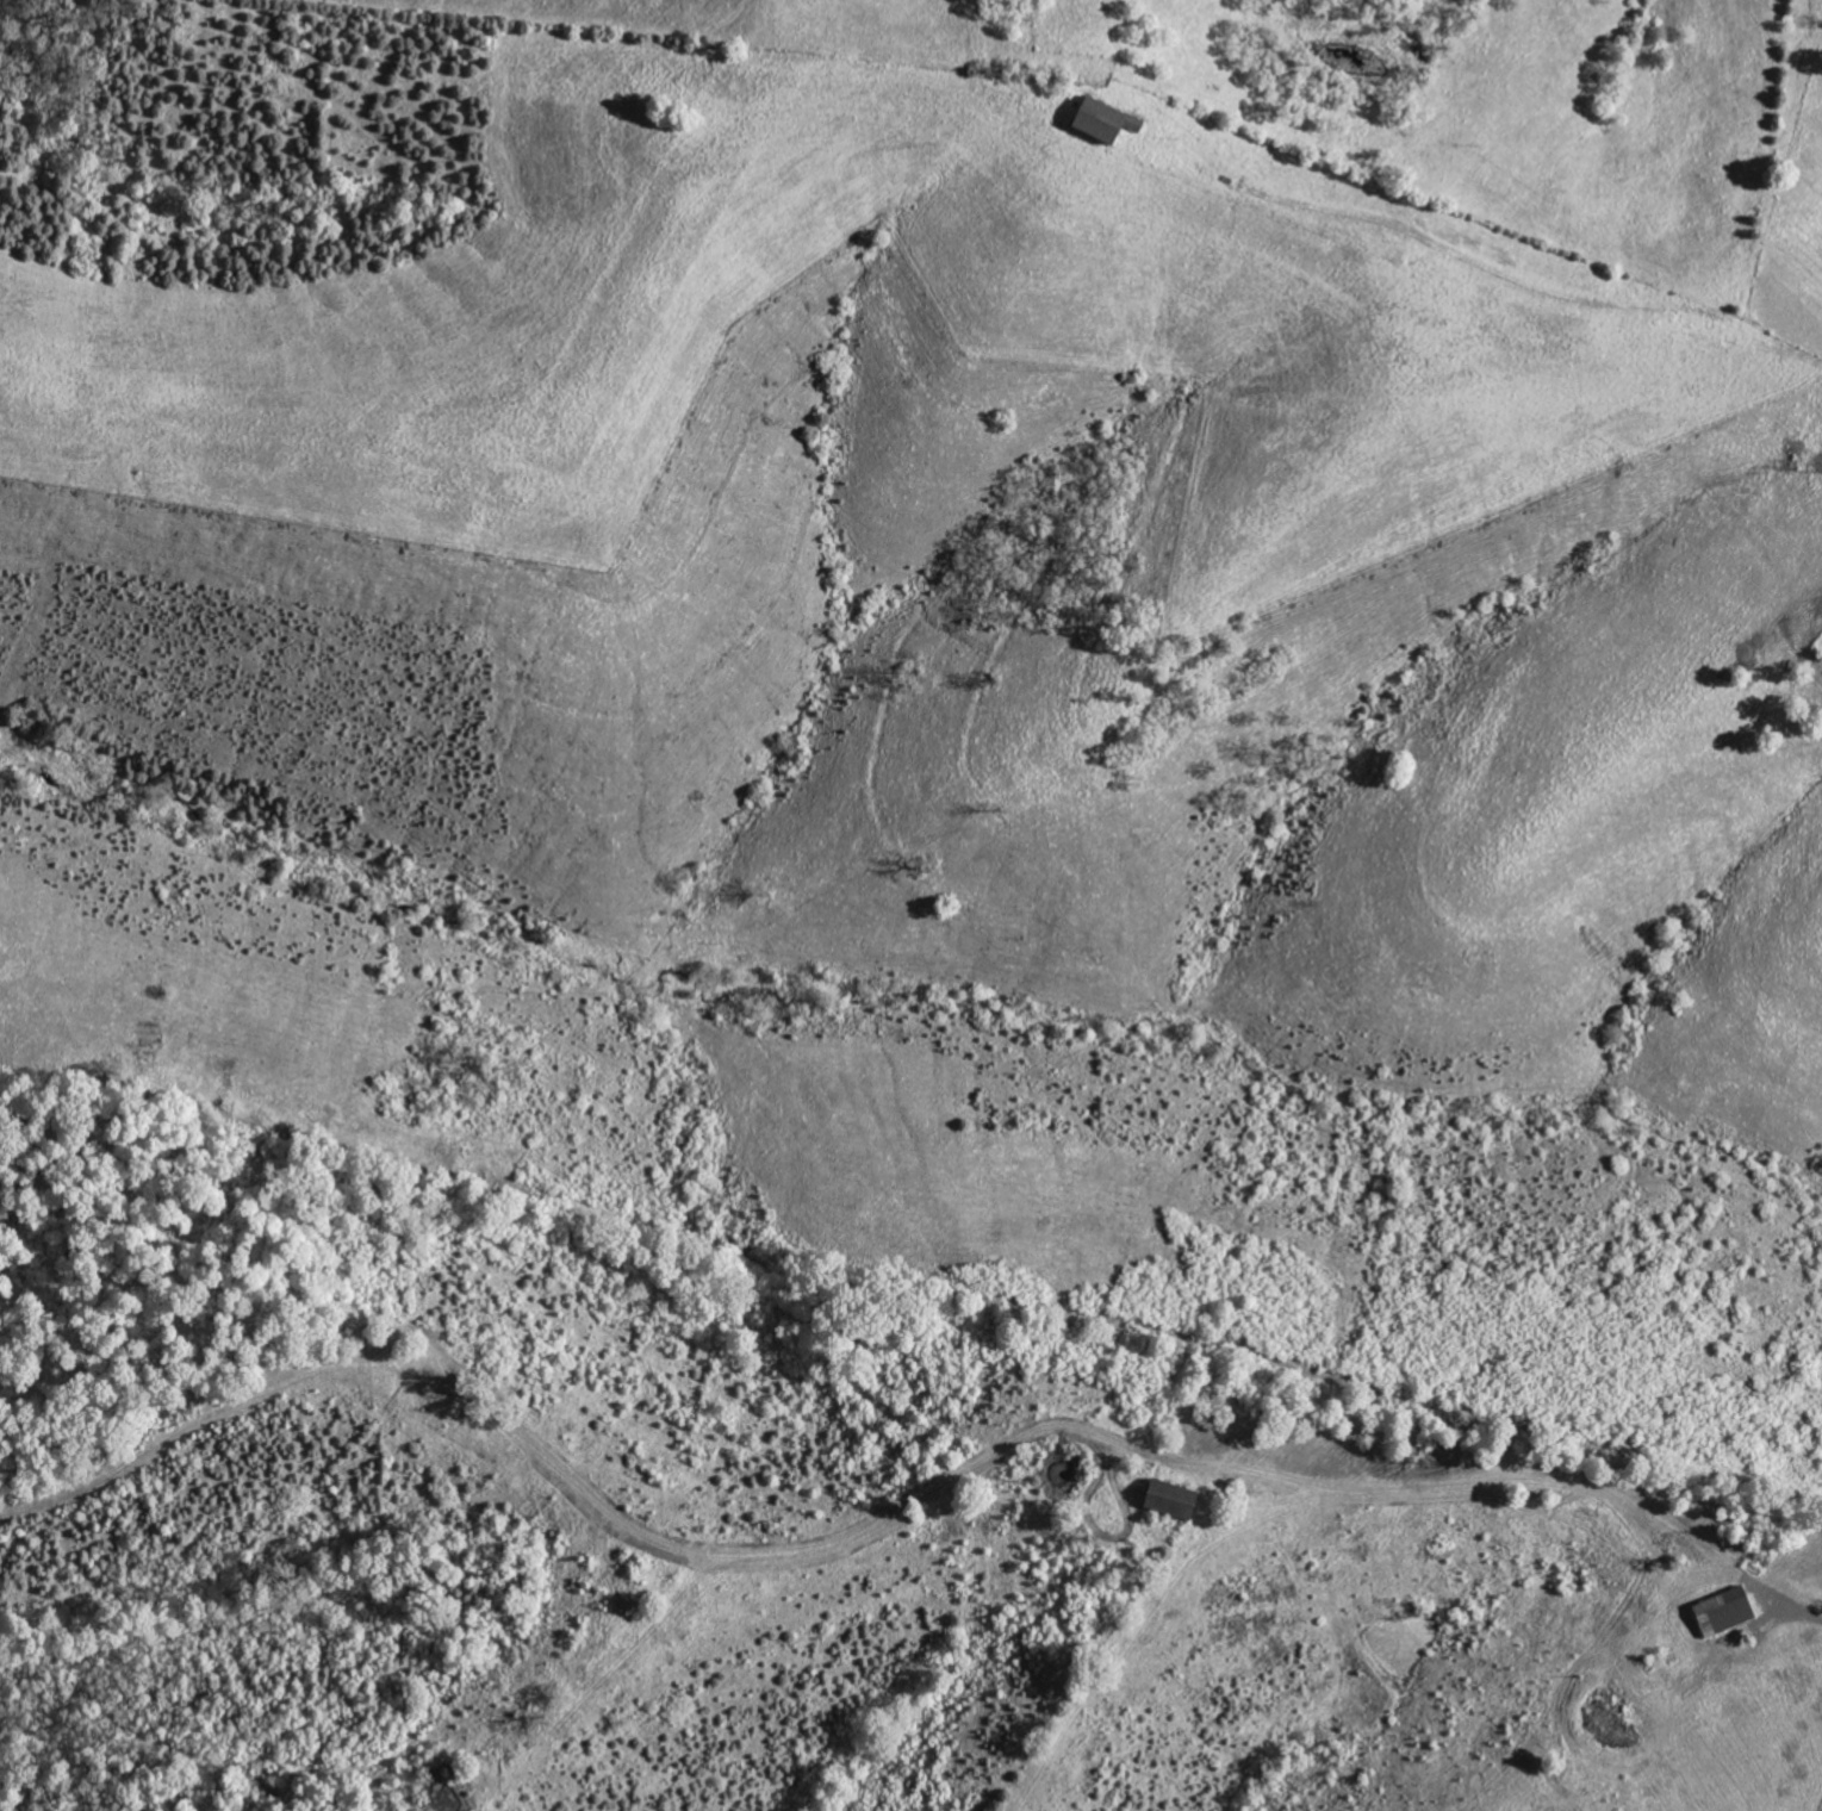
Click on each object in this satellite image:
building: (1089, 120)
building: (1161, 1498)
building: (1717, 1612)

